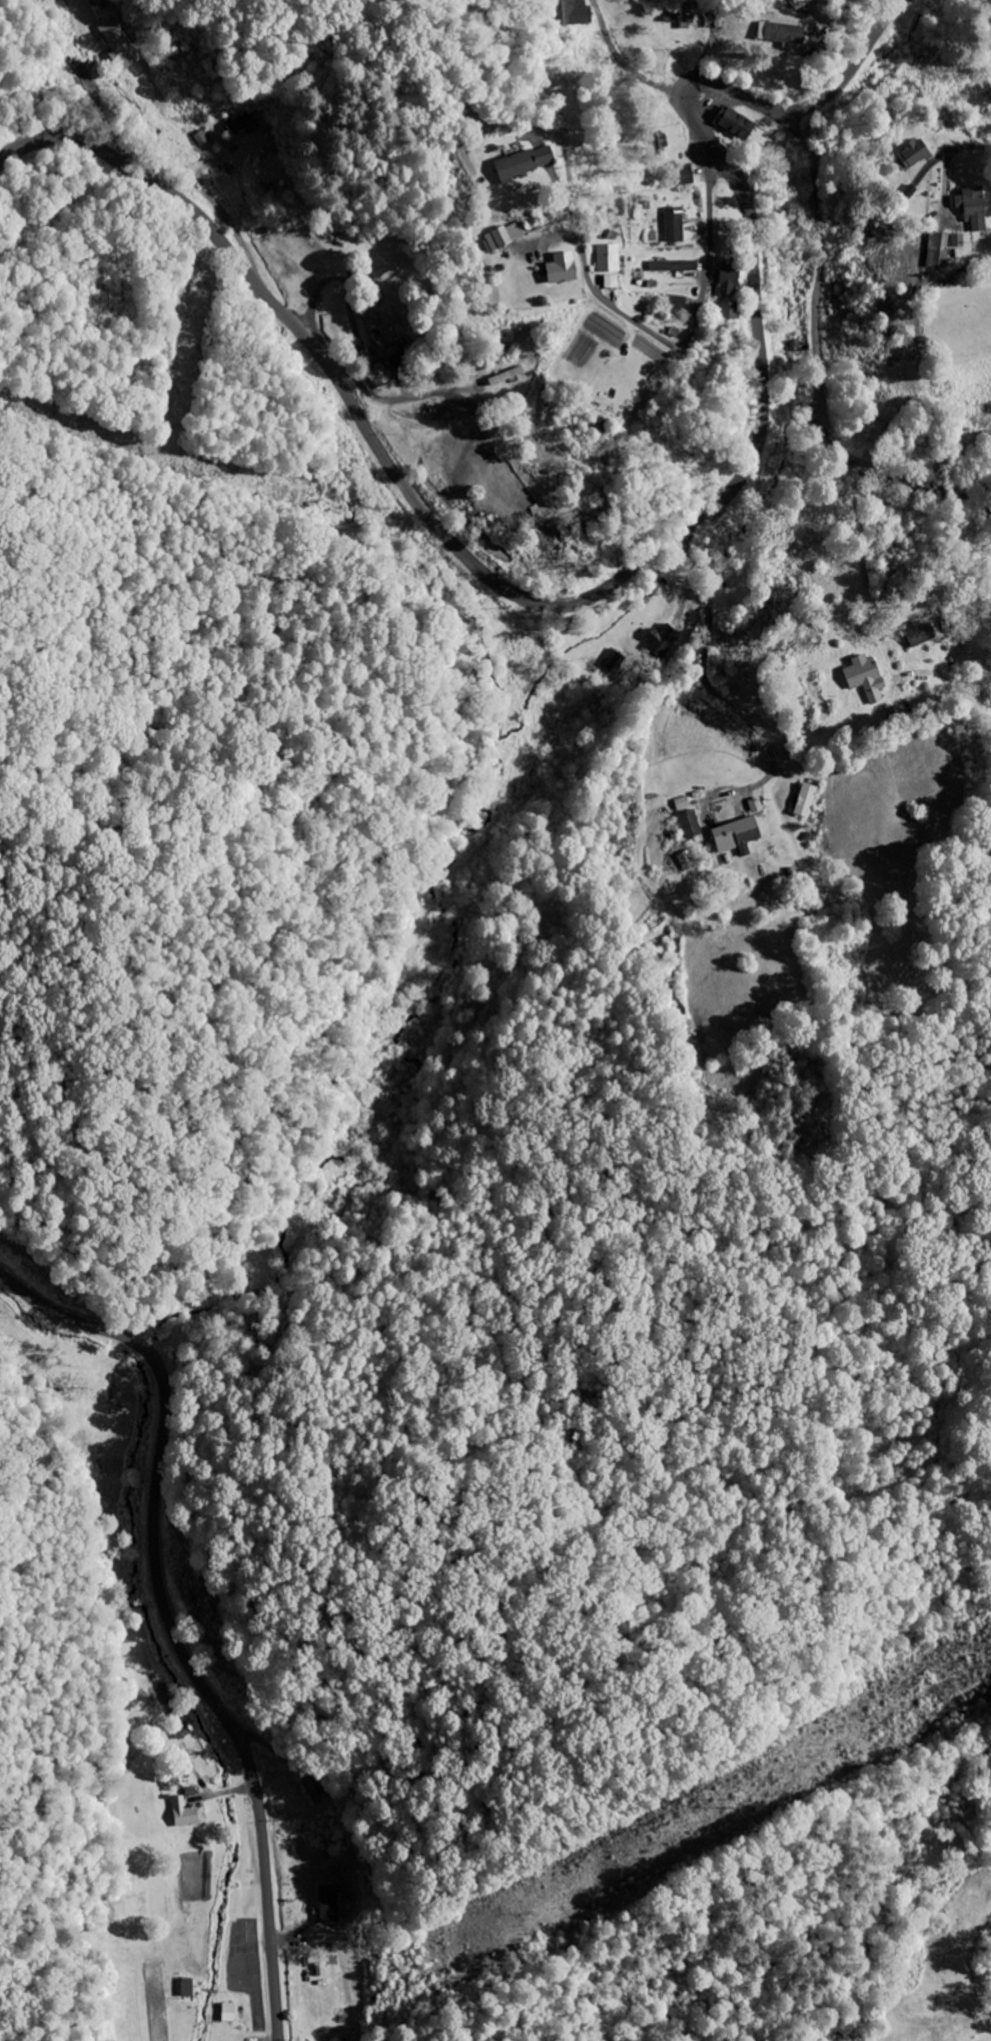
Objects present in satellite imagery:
building: (796, 2)
building: (572, 12)
road: (838, 23)
building: (778, 32)
building: (125, 39)
road: (622, 60)
building: (237, 120)
building: (733, 122)
building: (653, 141)
building: (910, 152)
building: (507, 163)
road: (947, 167)
building: (682, 173)
building: (972, 208)
building: (672, 223)
building: (499, 234)
building: (937, 251)
building: (603, 257)
building: (670, 265)
building: (554, 267)
building: (720, 279)
building: (670, 303)
building: (722, 310)
road: (673, 344)
building: (801, 345)
road: (818, 359)
building: (377, 374)
building: (506, 375)
road: (406, 397)
road: (866, 567)
road: (624, 573)
building: (915, 632)
building: (662, 639)
road: (984, 659)
building: (862, 676)
road: (714, 693)
building: (686, 816)
building: (733, 833)
road: (168, 1619)
building: (310, 1788)
building: (183, 1813)
road: (970, 1968)

